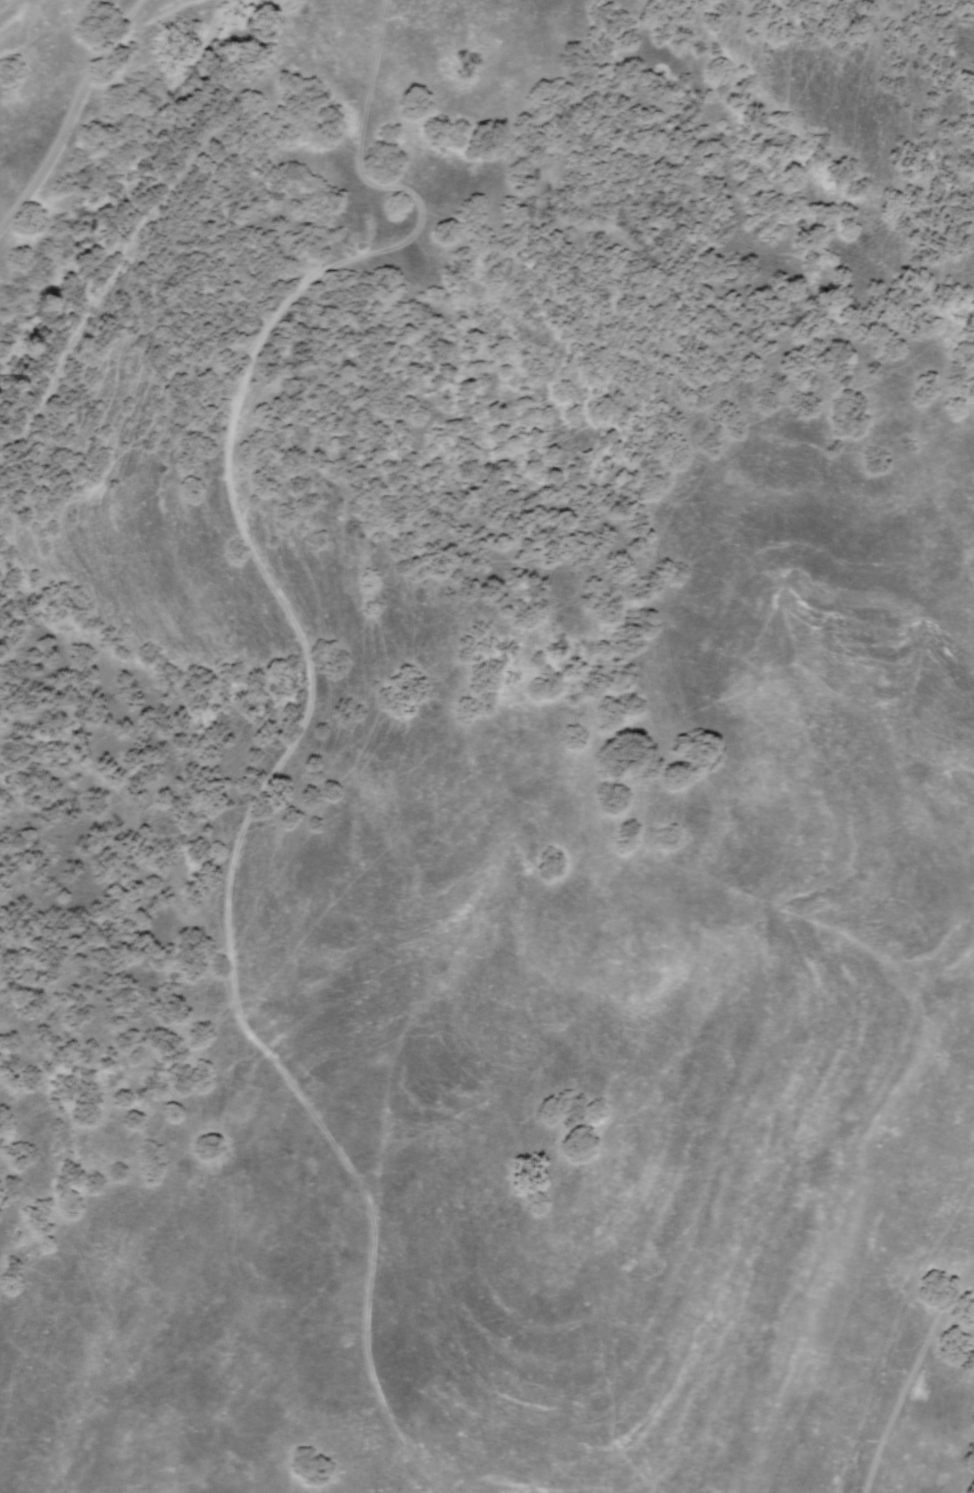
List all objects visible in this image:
road: (68, 111)
road: (911, 1374)

